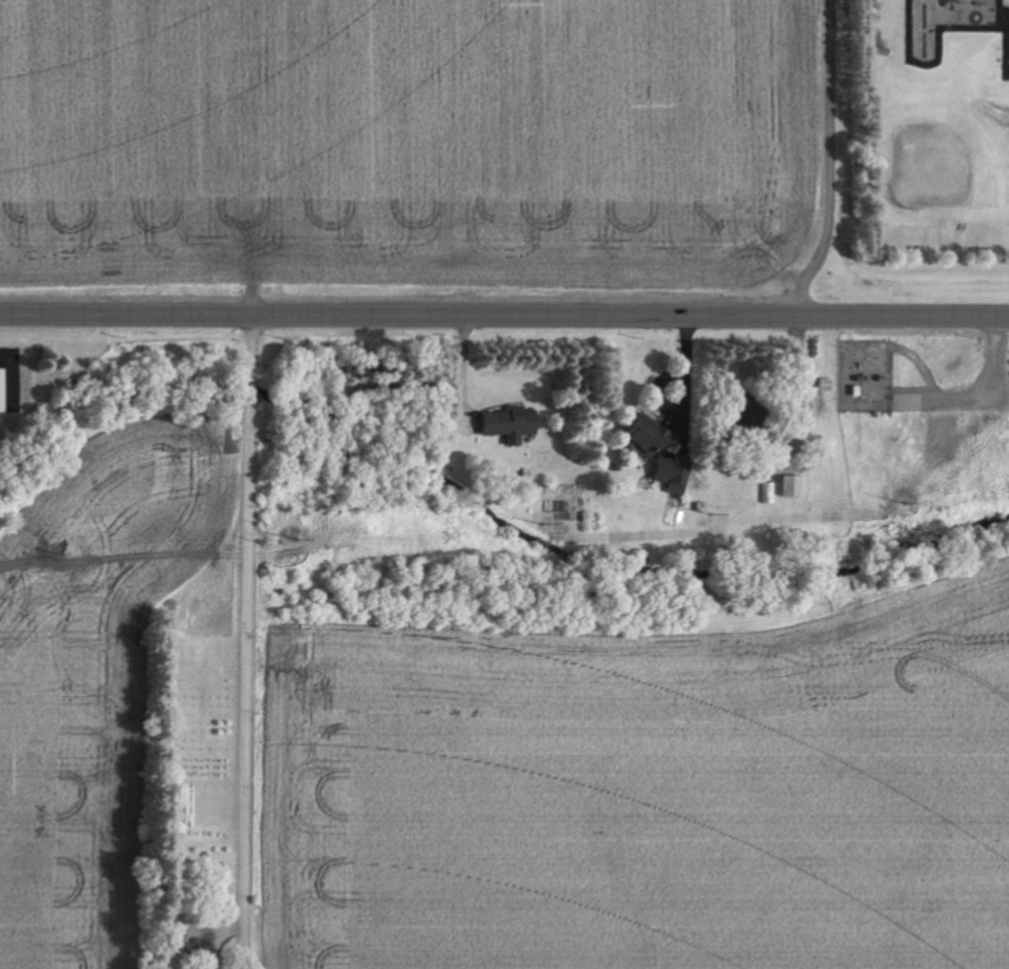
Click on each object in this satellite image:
road: (407, 311)
road: (912, 311)
building: (3, 390)
building: (513, 423)
building: (661, 450)
building: (769, 494)
road: (255, 639)
crop: (74, 710)
crop: (641, 791)

